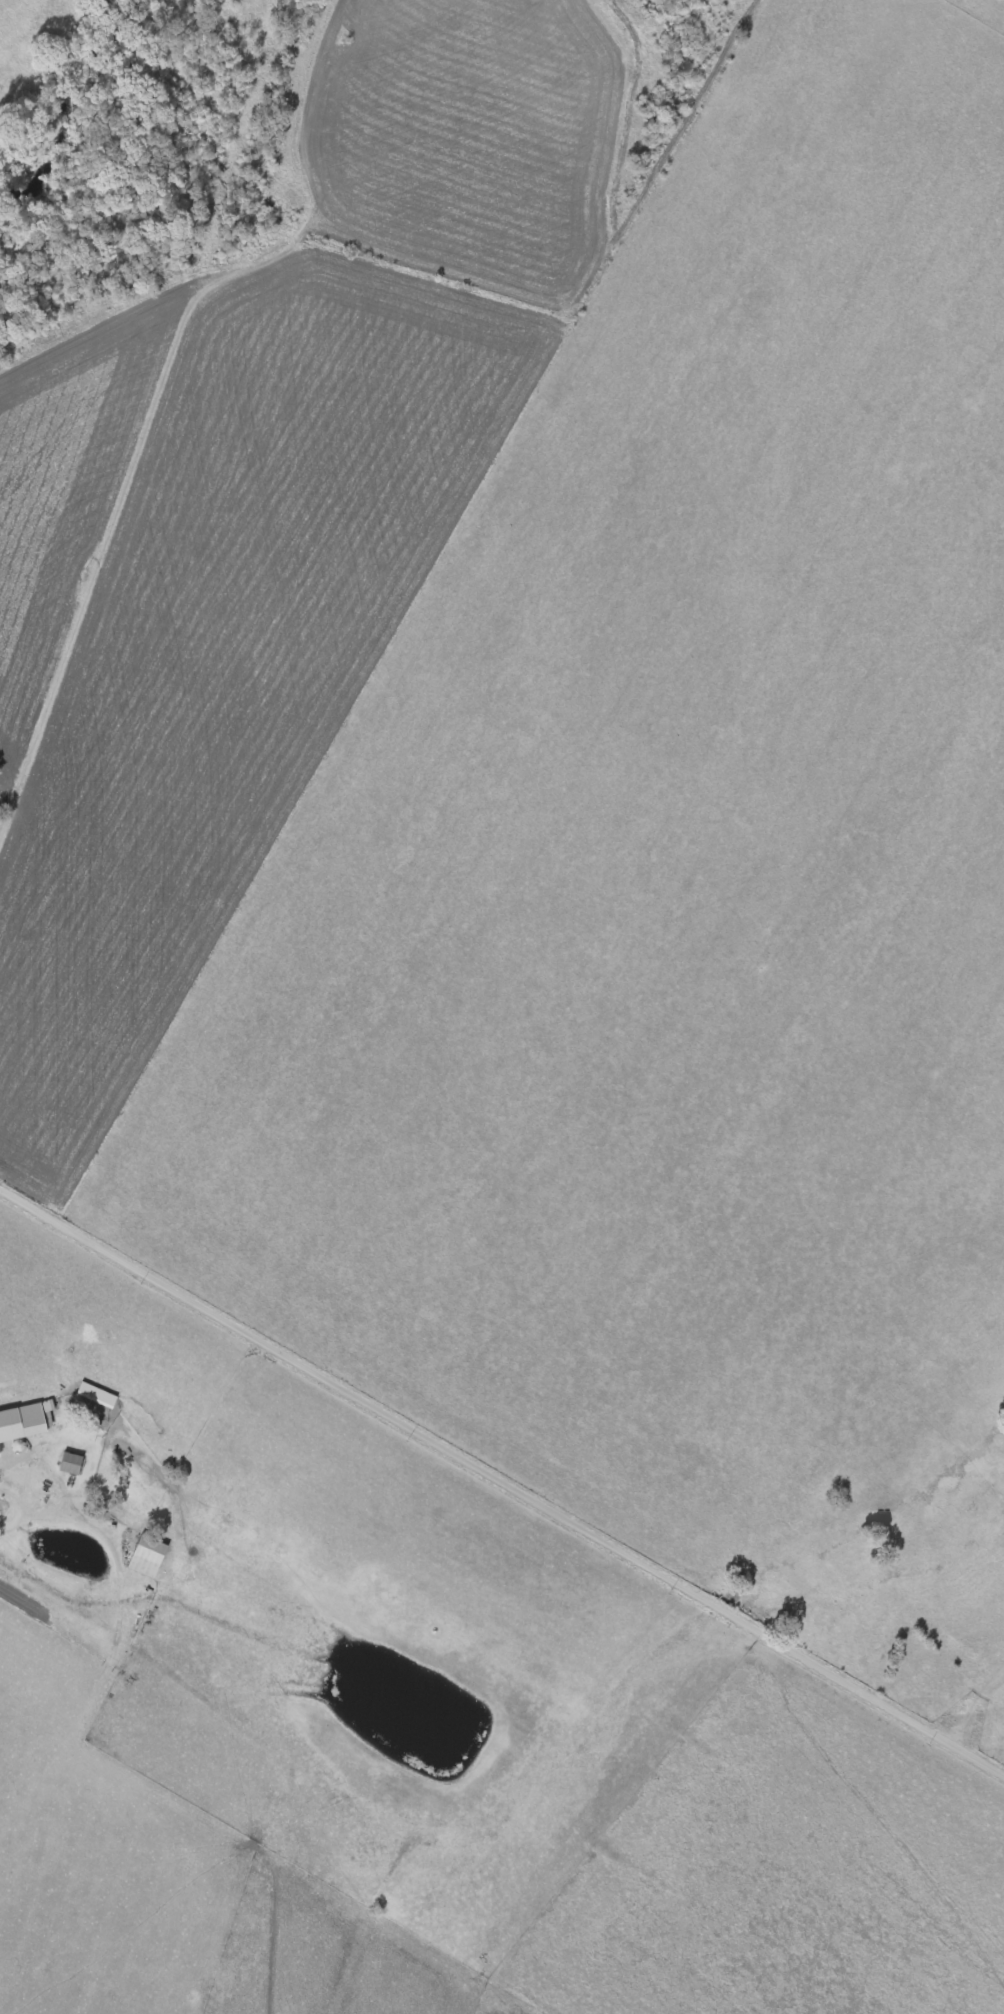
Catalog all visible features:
building: (99, 1396)
building: (73, 1464)
road: (502, 1475)
building: (150, 1557)

